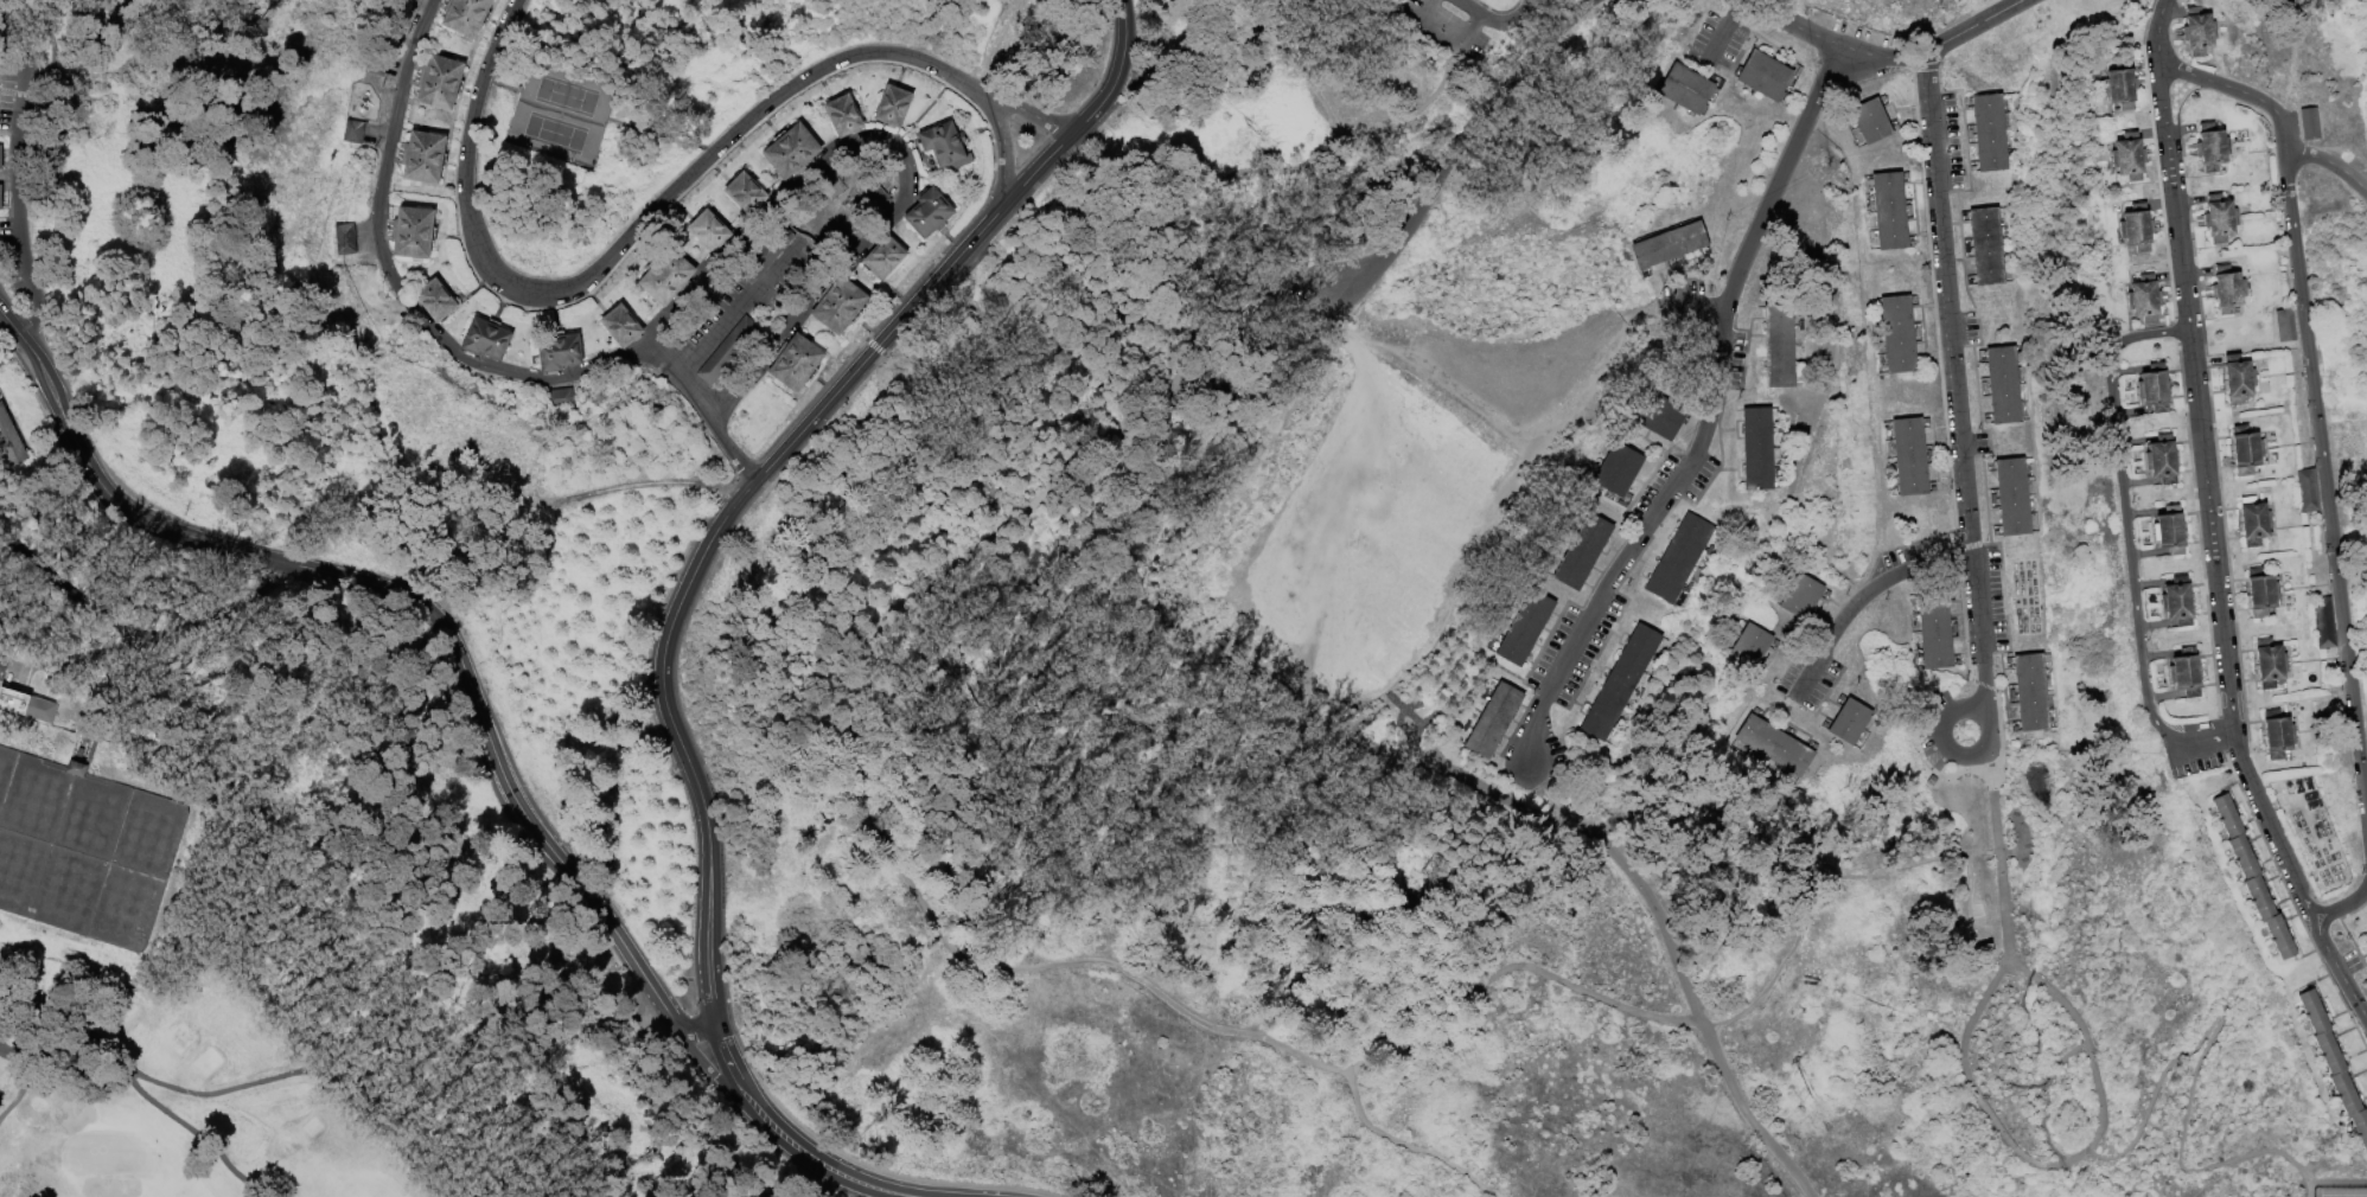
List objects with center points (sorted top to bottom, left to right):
building: (415, 0)
building: (1384, 2)
road: (1733, 9)
road: (1428, 11)
road: (1529, 15)
building: (466, 17)
road: (1485, 19)
road: (1794, 24)
road: (1974, 27)
road: (1466, 31)
road: (18, 32)
road: (2157, 32)
building: (2199, 33)
road: (1717, 41)
road: (1546, 47)
road: (1127, 55)
road: (1882, 57)
road: (2291, 59)
building: (376, 65)
road: (1212, 77)
building: (1767, 77)
road: (50, 79)
building: (439, 83)
road: (1312, 87)
building: (2123, 87)
building: (1689, 90)
road: (33, 96)
road: (19, 108)
building: (893, 108)
road: (2275, 111)
park: (563, 116)
building: (843, 116)
road: (1026, 120)
building: (1870, 122)
building: (2310, 126)
building: (355, 133)
building: (1989, 134)
road: (1319, 141)
building: (945, 147)
building: (2212, 149)
building: (791, 152)
road: (902, 158)
building: (2130, 158)
building: (1, 159)
building: (423, 159)
road: (17, 190)
building: (745, 194)
building: (874, 196)
building: (1, 197)
road: (1428, 197)
building: (1891, 212)
building: (929, 213)
road: (661, 216)
building: (2220, 220)
building: (2138, 229)
building: (709, 231)
building: (413, 233)
building: (343, 238)
building: (1671, 248)
building: (1985, 248)
building: (768, 252)
road: (25, 258)
building: (883, 260)
parking lot: (1353, 268)
building: (665, 277)
road: (395, 283)
building: (2228, 292)
road: (1290, 300)
building: (2146, 300)
building: (435, 301)
road: (741, 303)
road: (1686, 305)
road: (1686, 305)
building: (840, 307)
road: (1715, 307)
road: (36, 318)
road: (9, 324)
building: (621, 326)
building: (2286, 327)
building: (1901, 335)
building: (486, 339)
building: (1779, 347)
building: (728, 352)
building: (560, 353)
building: (796, 364)
road: (678, 367)
building: (2238, 380)
building: (2002, 386)
building: (2155, 390)
building: (556, 398)
road: (1710, 402)
road: (1956, 405)
road: (703, 410)
building: (1659, 416)
building: (11, 441)
building: (1757, 450)
building: (2246, 452)
building: (1912, 457)
building: (2163, 460)
building: (1618, 475)
road: (2324, 482)
building: (2309, 492)
road: (111, 495)
building: (2011, 498)
road: (2207, 500)
road: (736, 510)
building: (2254, 523)
building: (1574, 527)
building: (2170, 532)
road: (2127, 538)
building: (1583, 553)
building: (1556, 558)
building: (1679, 558)
road: (68, 583)
road: (1878, 585)
building: (2263, 594)
park: (1183, 598)
building: (1805, 600)
building: (2178, 603)
building: (1516, 604)
road: (217, 616)
building: (2324, 625)
building: (1525, 629)
building: (1934, 632)
building: (1493, 644)
road: (1283, 645)
parking lot: (1575, 648)
building: (1753, 649)
road: (89, 654)
road: (20, 664)
building: (2270, 665)
building: (2186, 674)
road: (1807, 680)
building: (1621, 683)
parking lot: (1810, 687)
building: (2029, 693)
building: (1485, 696)
building: (14, 702)
building: (43, 711)
building: (1848, 722)
building: (1493, 723)
building: (1467, 728)
road: (1941, 736)
building: (2278, 736)
building: (1776, 745)
road: (491, 753)
road: (854, 753)
road: (391, 755)
building: (85, 758)
building: (30, 790)
road: (253, 795)
road: (2006, 852)
road: (1997, 857)
building: (2254, 879)
road: (2342, 907)
road: (1969, 916)
building: (2366, 943)
road: (1786, 950)
road: (1677, 962)
road: (1507, 966)
road: (2340, 967)
road: (537, 987)
road: (2057, 999)
road: (671, 1019)
road: (697, 1032)
road: (2065, 1057)
road: (2196, 1063)
building: (2334, 1063)
road: (310, 1074)
road: (740, 1078)
road: (720, 1083)
road: (20, 1089)
park: (162, 1095)
road: (142, 1096)
road: (491, 1097)
road: (2002, 1137)
road: (792, 1141)
road: (1405, 1147)
park: (107, 1153)
road: (2336, 1183)
road: (869, 1184)
park: (2339, 1192)

